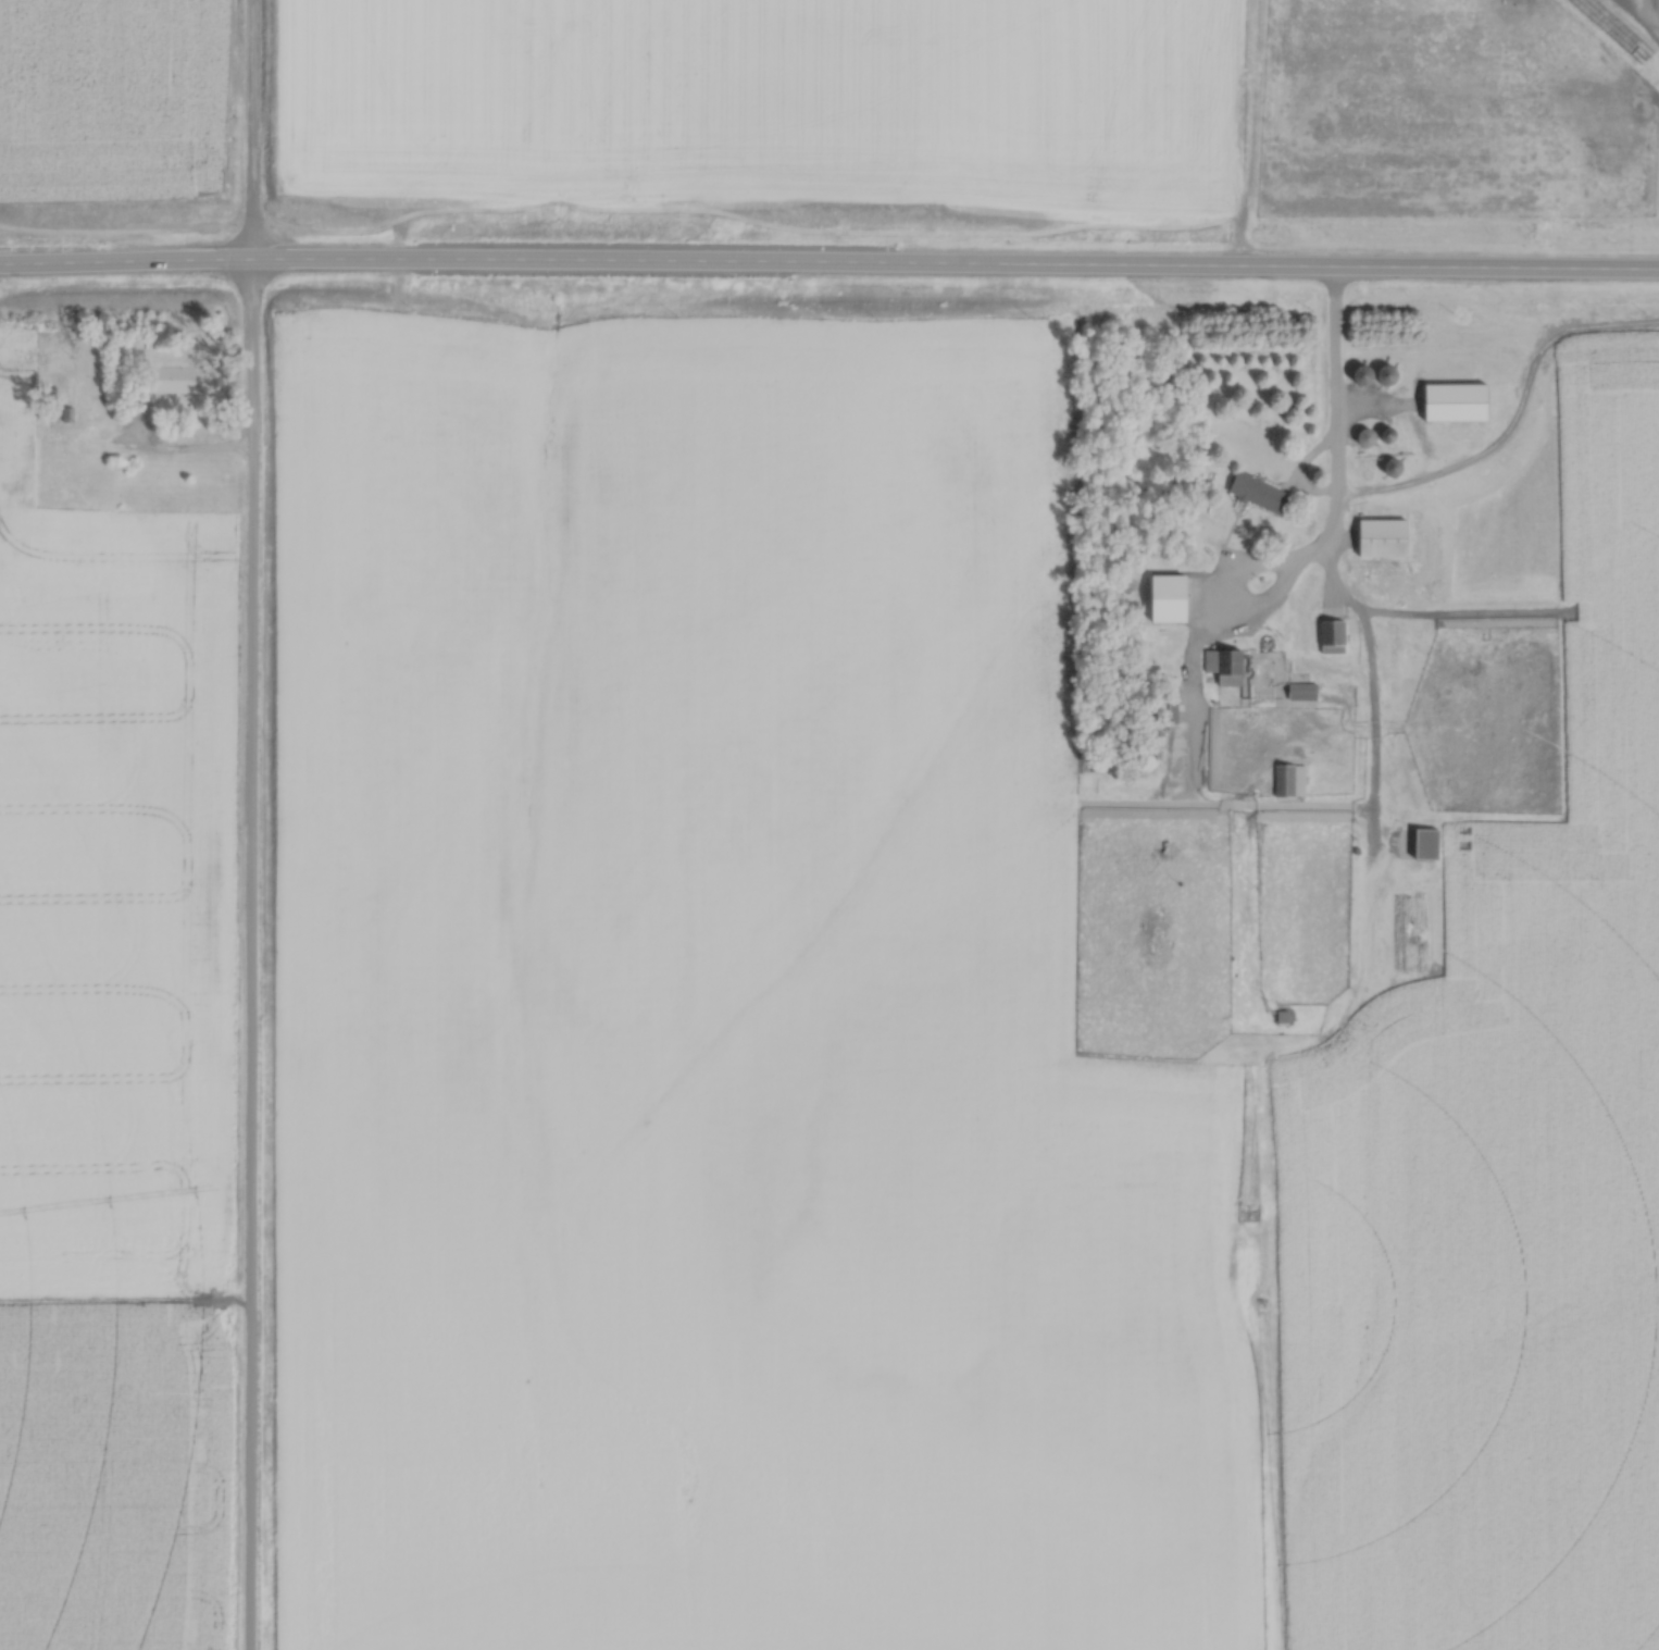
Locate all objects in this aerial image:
road: (828, 257)
building: (173, 373)
road: (1332, 381)
building: (1461, 396)
road: (159, 446)
building: (1261, 487)
building: (1387, 532)
building: (1172, 594)
building: (1336, 632)
building: (1227, 661)
building: (1307, 686)
building: (1293, 773)
road: (248, 824)
building: (1431, 838)
building: (1286, 1012)

